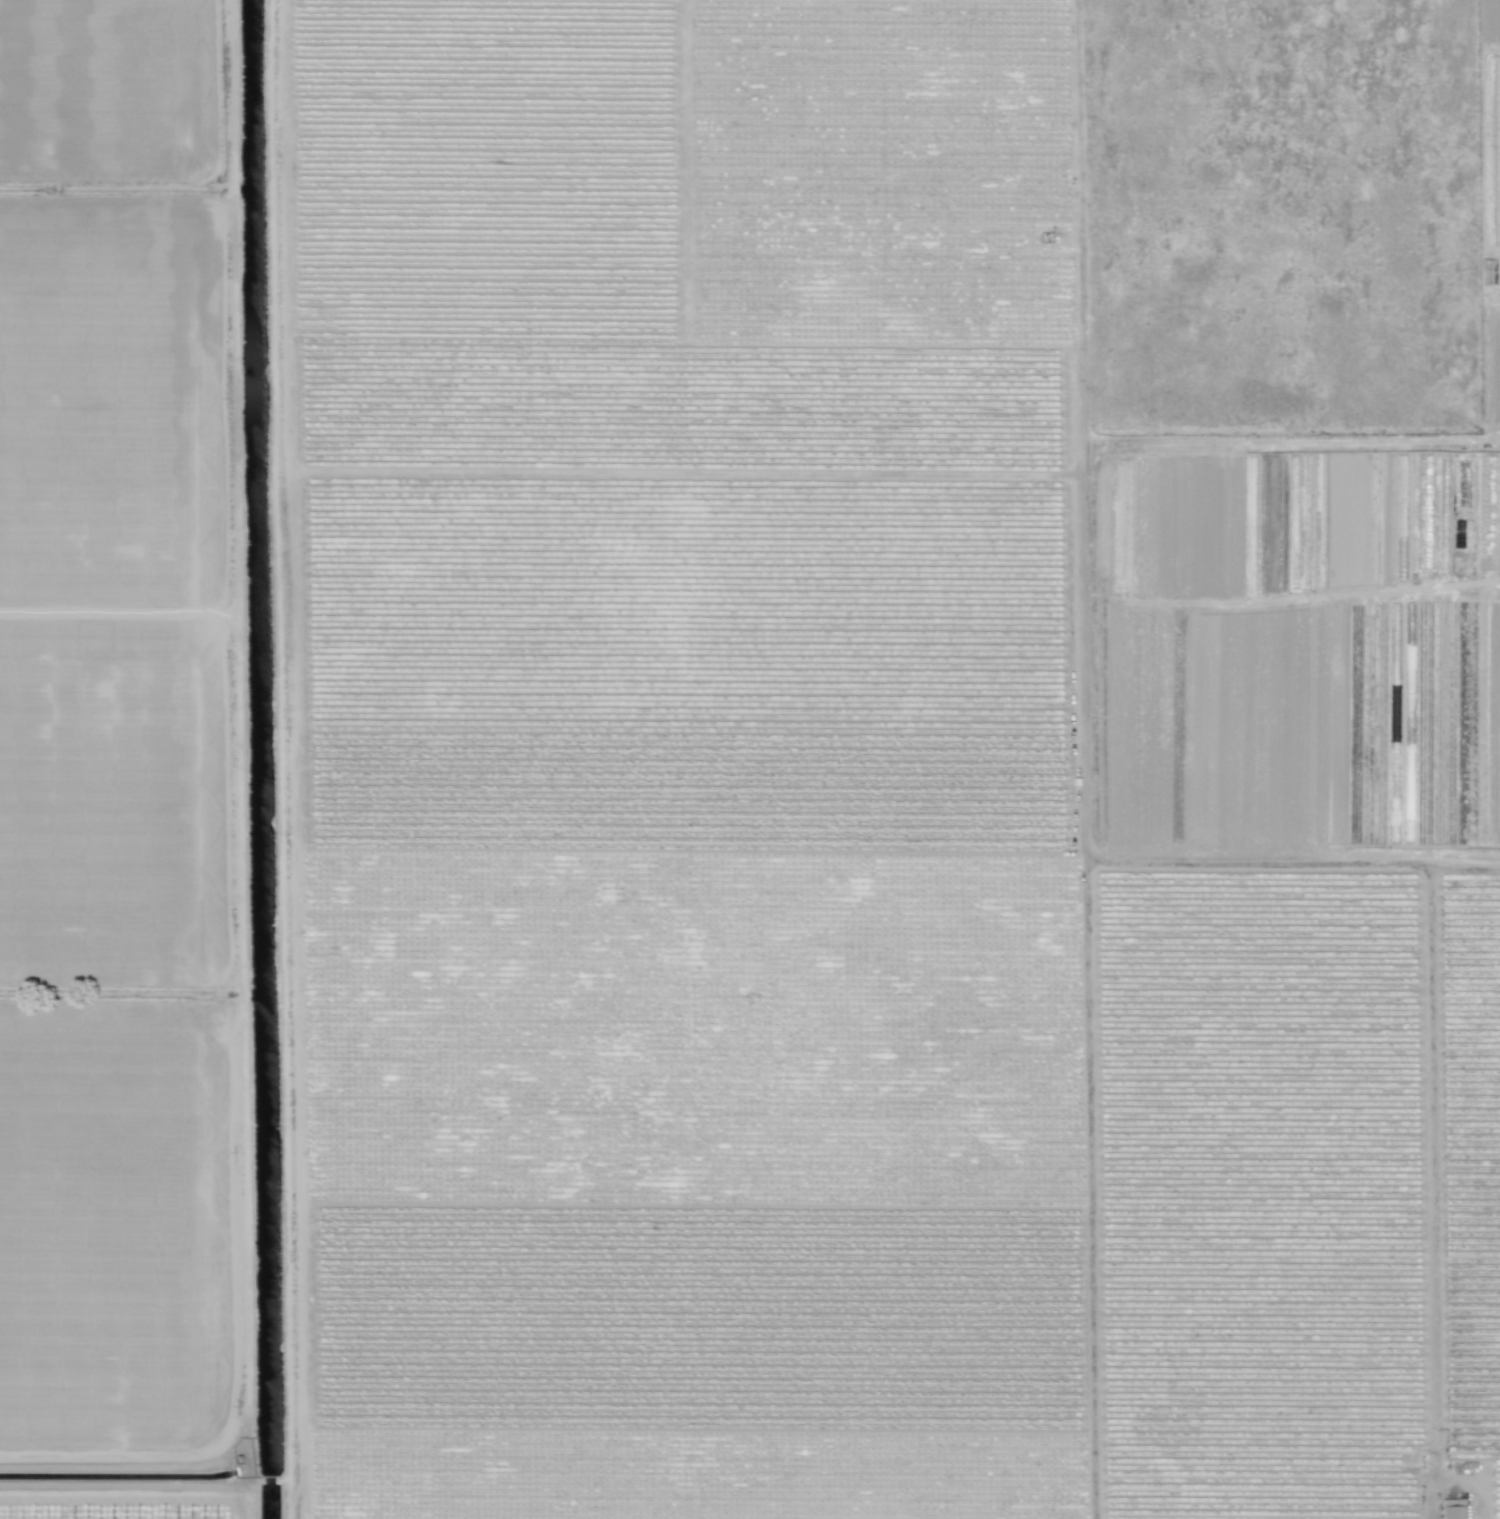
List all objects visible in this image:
road: (1079, 431)
road: (1430, 1008)
road: (1089, 1190)
road: (1456, 1481)
building: (1454, 1509)

